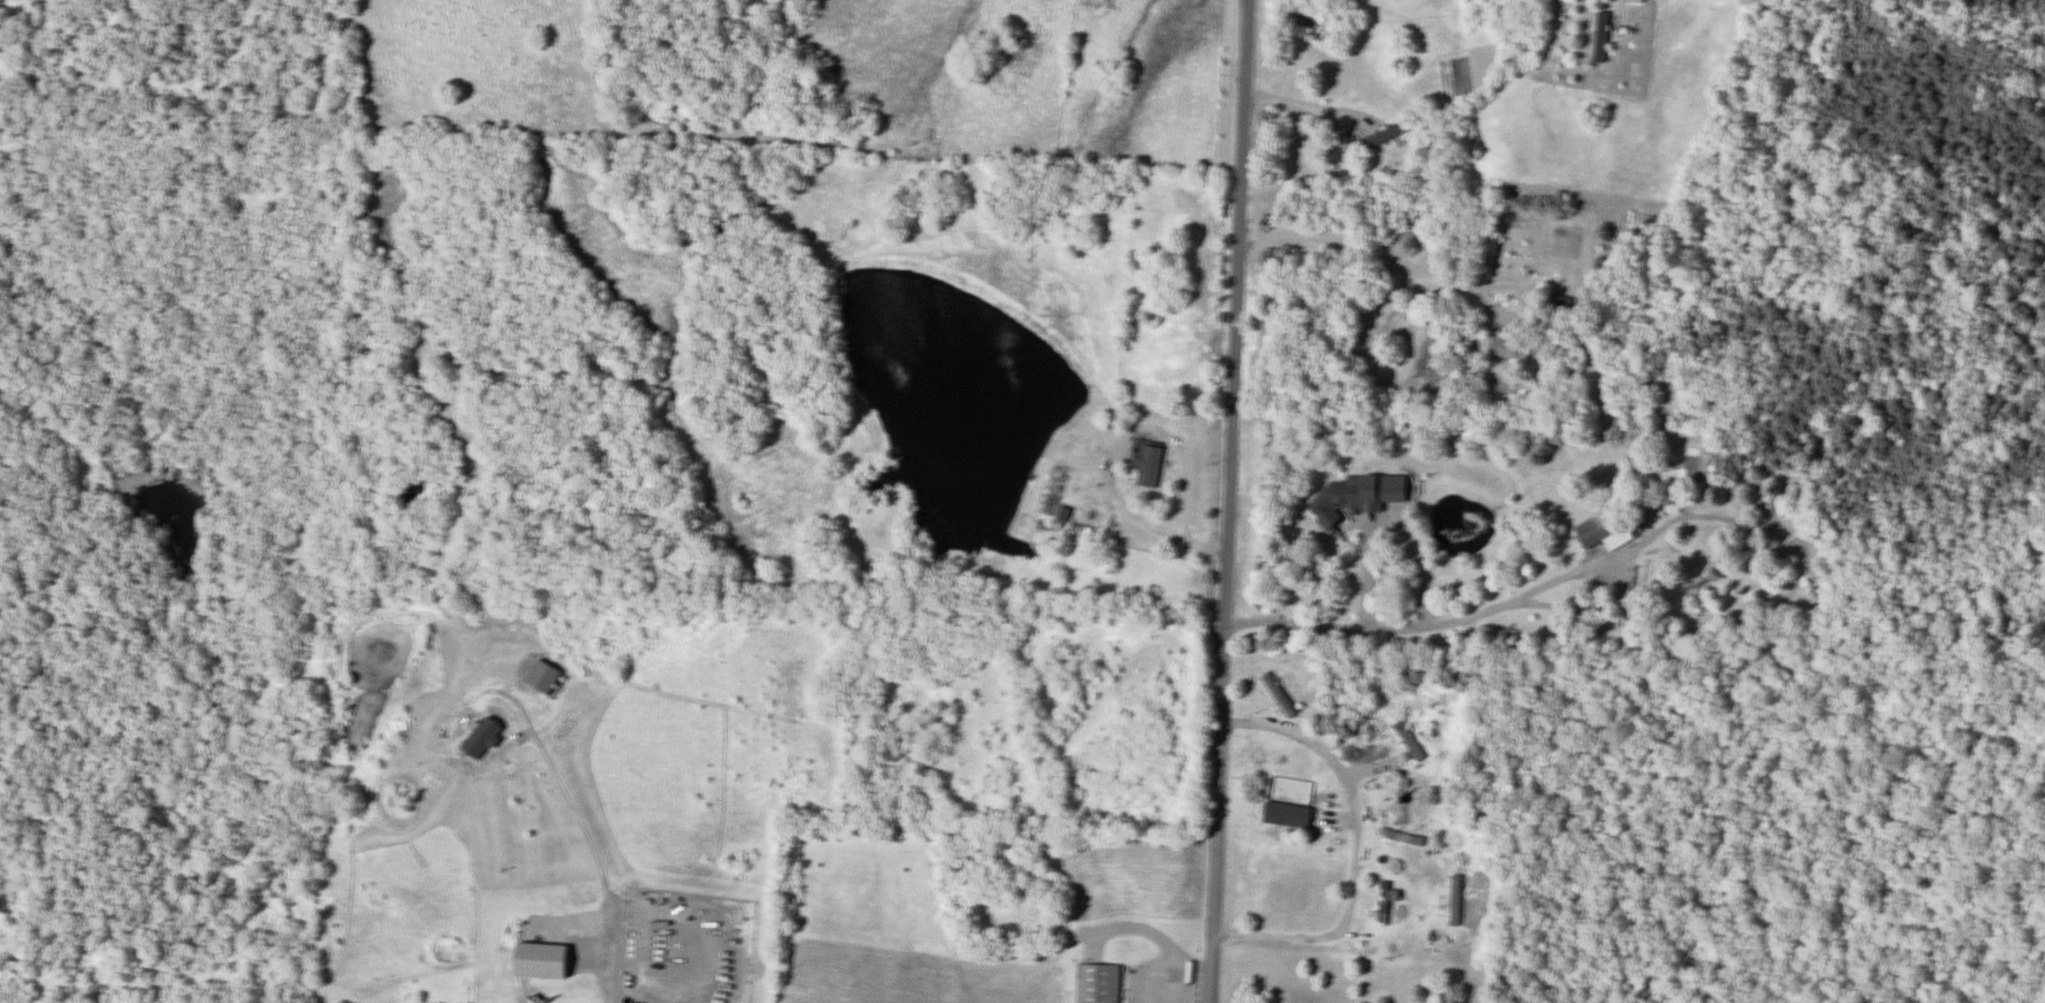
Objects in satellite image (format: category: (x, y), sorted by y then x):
building: (1601, 38)
road: (1316, 108)
road: (1360, 248)
road: (1526, 296)
building: (1506, 350)
road: (1119, 444)
building: (1148, 467)
road: (1228, 501)
building: (1340, 503)
building: (1601, 528)
road: (1205, 548)
road: (1367, 570)
road: (1412, 632)
building: (1279, 697)
building: (484, 740)
building: (1410, 743)
building: (1394, 803)
building: (1287, 814)
road: (1357, 846)
road: (595, 856)
building: (1386, 902)
building: (1456, 902)
building: (543, 962)
building: (1099, 984)

